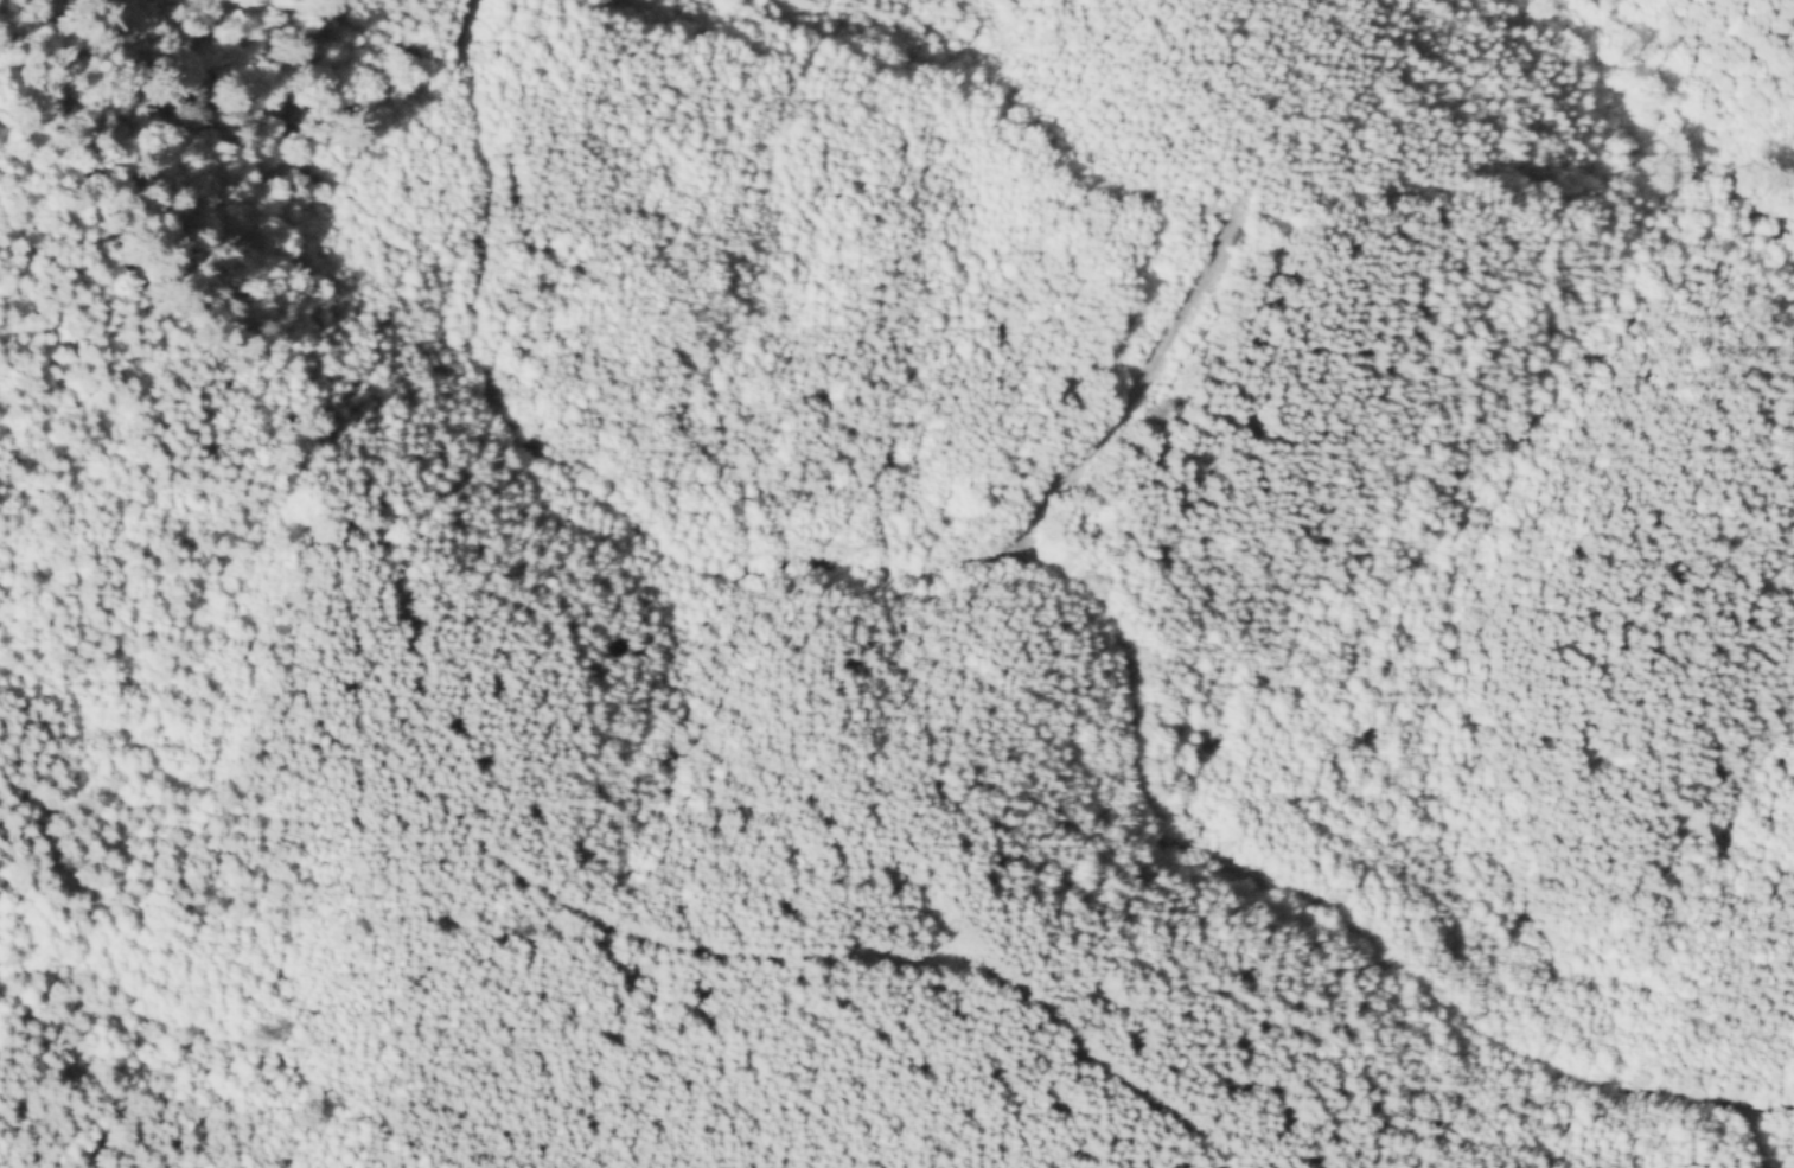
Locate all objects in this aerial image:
road: (719, 574)
road: (1322, 909)
road: (792, 949)
road: (1744, 1105)

